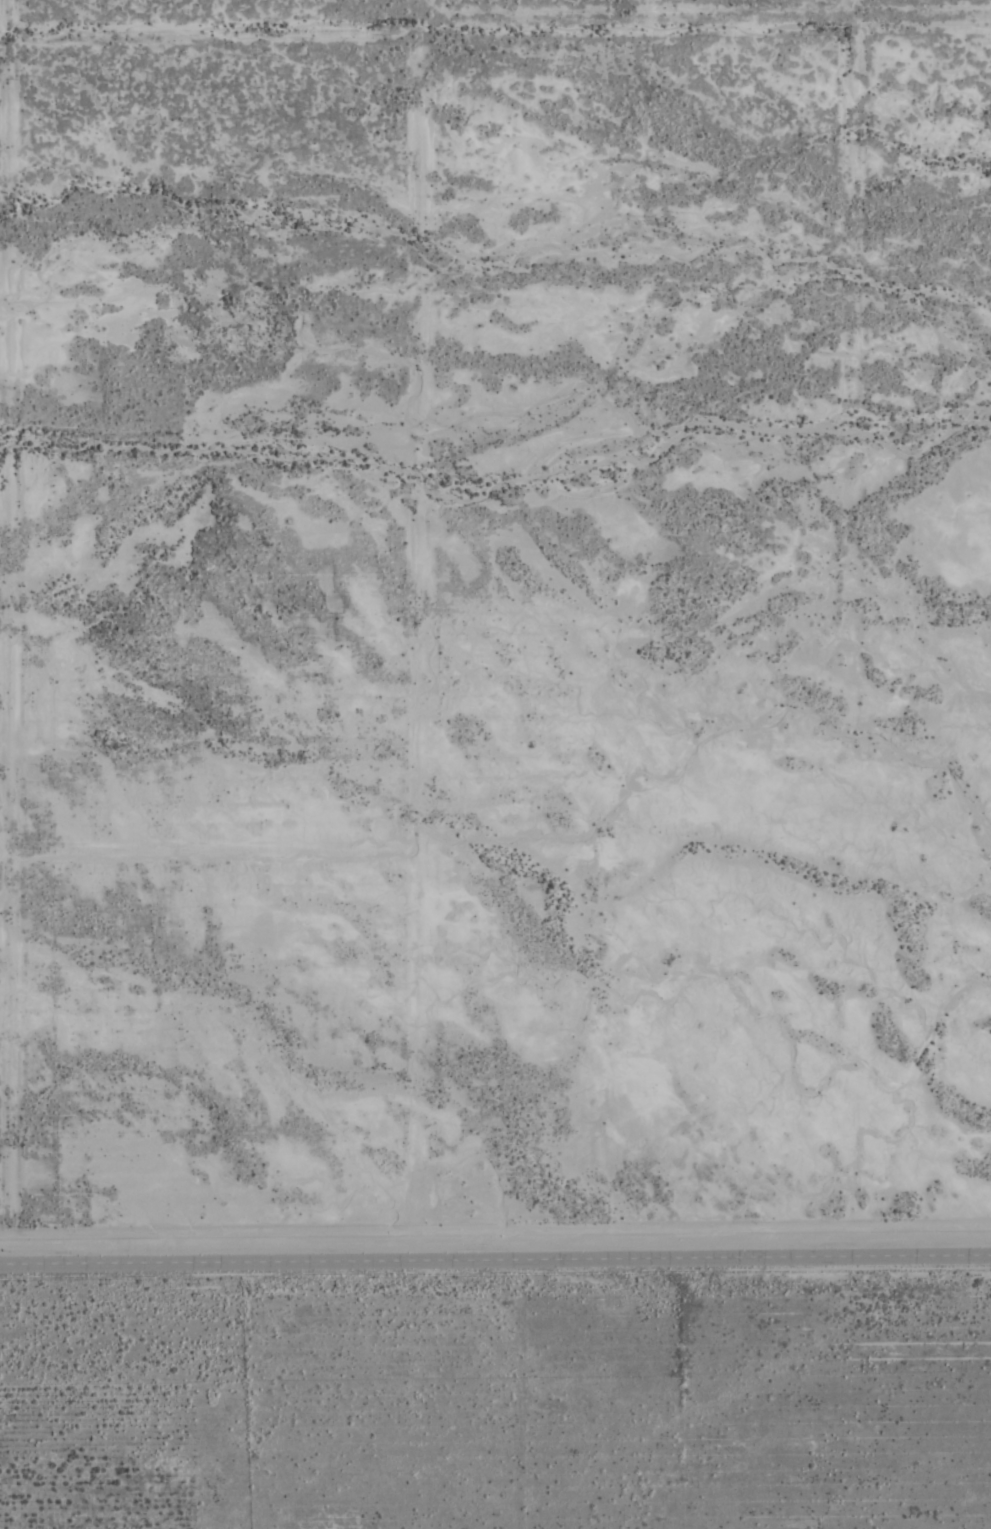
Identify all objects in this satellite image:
road: (495, 1264)

